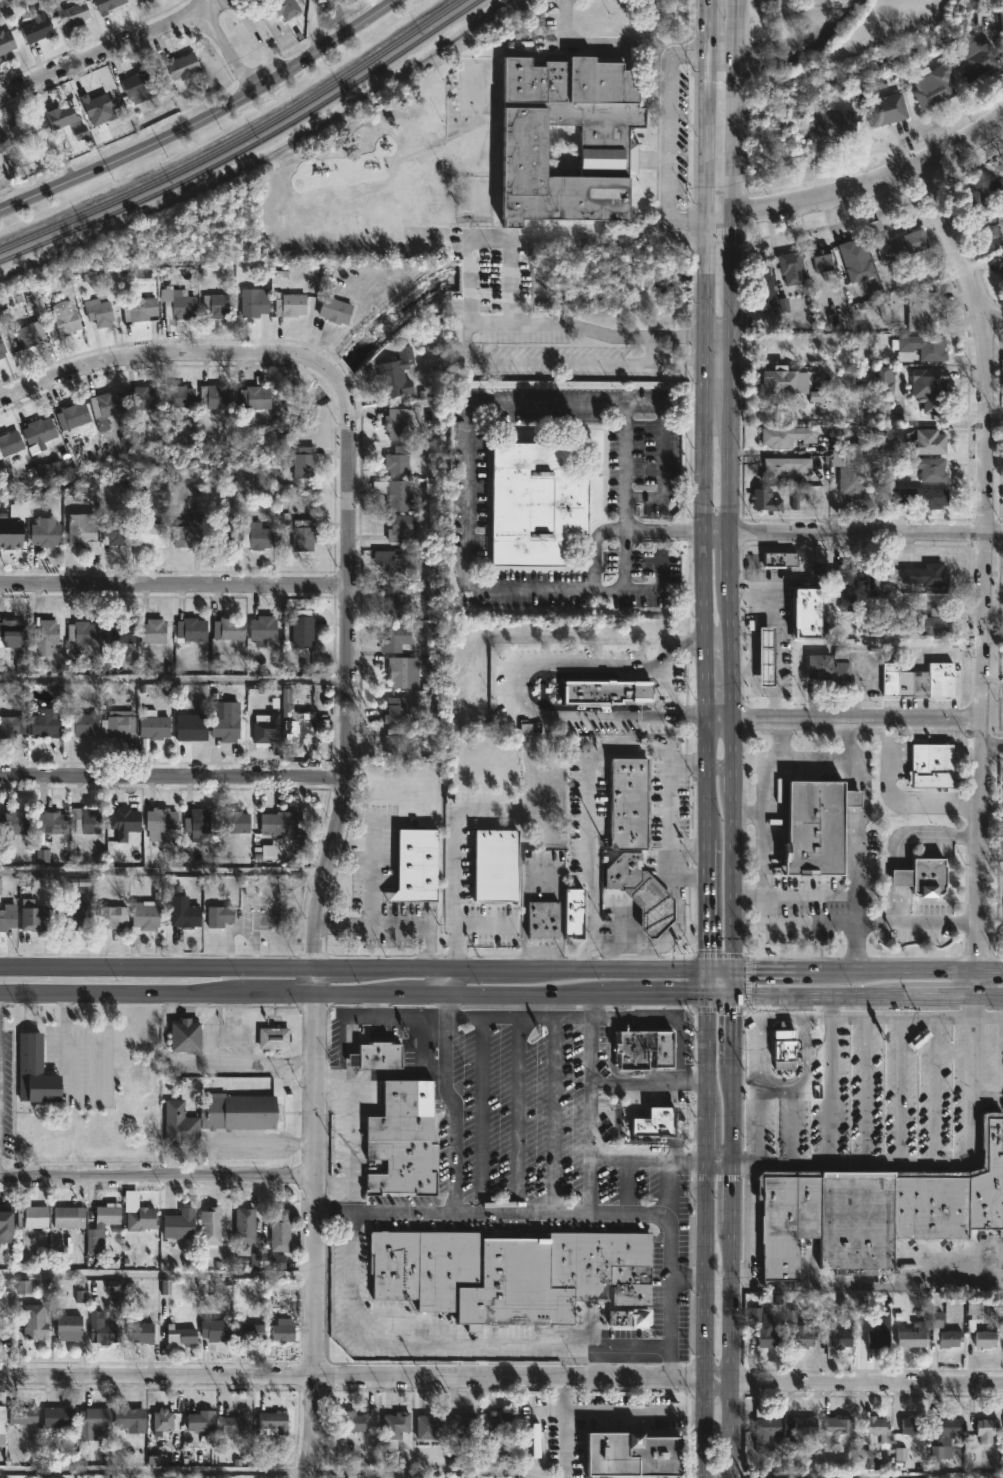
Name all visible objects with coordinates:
road: (197, 4)
road: (10, 6)
building: (109, 6)
building: (287, 8)
road: (744, 9)
parking lot: (802, 10)
building: (1001, 10)
building: (72, 15)
road: (793, 15)
road: (816, 18)
road: (736, 25)
building: (37, 28)
road: (314, 28)
road: (261, 36)
building: (6, 41)
road: (608, 42)
road: (802, 42)
road: (227, 47)
road: (722, 50)
road: (97, 57)
building: (981, 60)
building: (183, 65)
building: (138, 85)
building: (935, 85)
building: (98, 108)
road: (706, 108)
building: (887, 109)
building: (61, 114)
road: (206, 120)
building: (836, 122)
road: (735, 131)
building: (28, 132)
road: (663, 137)
building: (604, 138)
railway: (239, 140)
building: (3, 143)
railway: (247, 145)
road: (873, 177)
building: (997, 188)
building: (974, 205)
road: (720, 215)
building: (993, 234)
building: (898, 243)
building: (824, 256)
building: (858, 259)
building: (792, 268)
building: (1002, 272)
building: (765, 286)
building: (254, 302)
building: (215, 304)
building: (290, 304)
building: (142, 308)
building: (335, 309)
building: (179, 310)
building: (923, 311)
building: (99, 312)
road: (990, 314)
building: (65, 318)
road: (466, 327)
road: (718, 333)
building: (29, 334)
building: (923, 346)
building: (2, 349)
road: (166, 351)
building: (396, 374)
building: (782, 381)
building: (884, 381)
building: (934, 390)
building: (180, 395)
building: (216, 396)
building: (254, 397)
building: (144, 398)
road: (678, 406)
road: (694, 406)
building: (106, 408)
building: (73, 415)
building: (396, 424)
building: (39, 432)
building: (787, 436)
building: (930, 442)
building: (10, 443)
building: (398, 460)
building: (304, 462)
building: (55, 467)
road: (733, 468)
building: (927, 468)
road: (702, 470)
building: (786, 470)
building: (853, 472)
road: (624, 485)
building: (396, 493)
building: (923, 497)
building: (766, 500)
building: (534, 503)
road: (468, 524)
building: (402, 530)
road: (718, 530)
building: (83, 531)
building: (114, 531)
building: (149, 531)
road: (868, 531)
building: (46, 532)
building: (188, 534)
building: (10, 535)
building: (220, 535)
building: (256, 535)
building: (304, 536)
building: (777, 558)
road: (981, 559)
building: (404, 568)
building: (927, 576)
road: (173, 586)
road: (657, 586)
building: (845, 586)
building: (875, 587)
building: (400, 602)
building: (807, 614)
building: (934, 624)
building: (12, 631)
building: (192, 631)
building: (263, 631)
building: (153, 632)
building: (227, 632)
building: (83, 633)
building: (118, 634)
building: (303, 635)
building: (46, 637)
building: (396, 639)
road: (992, 639)
road: (778, 640)
building: (832, 669)
road: (348, 671)
building: (404, 672)
building: (919, 681)
road: (517, 683)
building: (604, 690)
building: (396, 710)
building: (226, 721)
road: (880, 721)
building: (296, 722)
road: (758, 722)
building: (45, 723)
road: (721, 723)
building: (82, 725)
building: (11, 726)
building: (119, 726)
building: (152, 727)
building: (191, 729)
building: (266, 729)
road: (781, 739)
building: (395, 744)
road: (707, 744)
road: (991, 747)
road: (735, 749)
road: (831, 762)
building: (934, 766)
road: (722, 767)
road: (173, 776)
road: (896, 800)
road: (587, 801)
building: (631, 804)
road: (749, 814)
building: (162, 820)
building: (86, 822)
building: (234, 822)
building: (52, 823)
building: (125, 824)
building: (281, 824)
building: (14, 825)
building: (198, 825)
building: (815, 827)
road: (925, 833)
road: (991, 852)
road: (689, 853)
road: (454, 857)
road: (856, 857)
road: (372, 860)
building: (494, 864)
building: (414, 865)
road: (165, 871)
road: (690, 875)
building: (920, 876)
road: (899, 877)
building: (640, 891)
road: (676, 893)
road: (899, 904)
building: (497, 912)
building: (573, 912)
building: (184, 914)
building: (75, 916)
building: (8, 917)
building: (34, 917)
building: (112, 917)
building: (145, 917)
building: (220, 917)
building: (541, 920)
road: (783, 924)
road: (484, 925)
road: (392, 929)
road: (612, 957)
road: (646, 957)
road: (501, 968)
traffic signals: (707, 969)
traffic signals: (734, 969)
road: (314, 980)
road: (445, 980)
road: (978, 982)
road: (501, 993)
traffic signals: (707, 994)
traffic signals: (734, 994)
road: (669, 1015)
road: (517, 1016)
road: (780, 1020)
road: (423, 1021)
road: (947, 1021)
building: (186, 1036)
building: (274, 1038)
building: (917, 1039)
building: (639, 1048)
road: (757, 1052)
building: (780, 1052)
building: (375, 1055)
road: (805, 1055)
building: (34, 1072)
road: (386, 1074)
road: (829, 1077)
road: (647, 1081)
road: (774, 1085)
road: (68, 1089)
road: (588, 1103)
building: (243, 1111)
road: (483, 1114)
road: (515, 1114)
road: (551, 1114)
road: (706, 1122)
road: (756, 1122)
building: (651, 1123)
road: (792, 1123)
building: (180, 1124)
road: (351, 1127)
road: (733, 1127)
building: (401, 1139)
road: (247, 1142)
road: (629, 1159)
road: (719, 1159)
road: (934, 1162)
road: (669, 1169)
road: (454, 1170)
road: (157, 1175)
building: (953, 1192)
building: (30, 1213)
road: (626, 1213)
building: (107, 1214)
building: (69, 1216)
building: (785, 1217)
building: (140, 1219)
building: (855, 1220)
building: (180, 1223)
building: (211, 1225)
building: (245, 1227)
building: (281, 1228)
road: (314, 1235)
building: (509, 1272)
road: (687, 1273)
road: (157, 1274)
road: (867, 1285)
building: (979, 1304)
building: (633, 1317)
building: (34, 1321)
building: (0, 1325)
building: (69, 1327)
building: (764, 1328)
building: (216, 1329)
building: (104, 1330)
building: (252, 1331)
building: (283, 1332)
building: (142, 1333)
building: (948, 1333)
building: (180, 1335)
building: (985, 1336)
building: (805, 1337)
building: (838, 1337)
building: (913, 1338)
building: (880, 1339)
road: (474, 1343)
road: (597, 1361)
road: (631, 1361)
road: (501, 1377)
road: (623, 1412)
building: (23, 1415)
building: (130, 1419)
building: (60, 1420)
building: (164, 1420)
building: (202, 1421)
building: (354, 1421)
building: (92, 1422)
building: (2, 1423)
building: (273, 1423)
building: (236, 1424)
building: (396, 1425)
building: (431, 1425)
building: (497, 1425)
building: (915, 1425)
building: (807, 1426)
building: (951, 1426)
building: (464, 1428)
road: (566, 1428)
building: (839, 1428)
building: (881, 1428)
road: (537, 1430)
building: (989, 1430)
building: (768, 1432)
building: (638, 1455)
road: (153, 1470)
road: (422, 1471)
road: (536, 1477)
road: (866, 1477)

